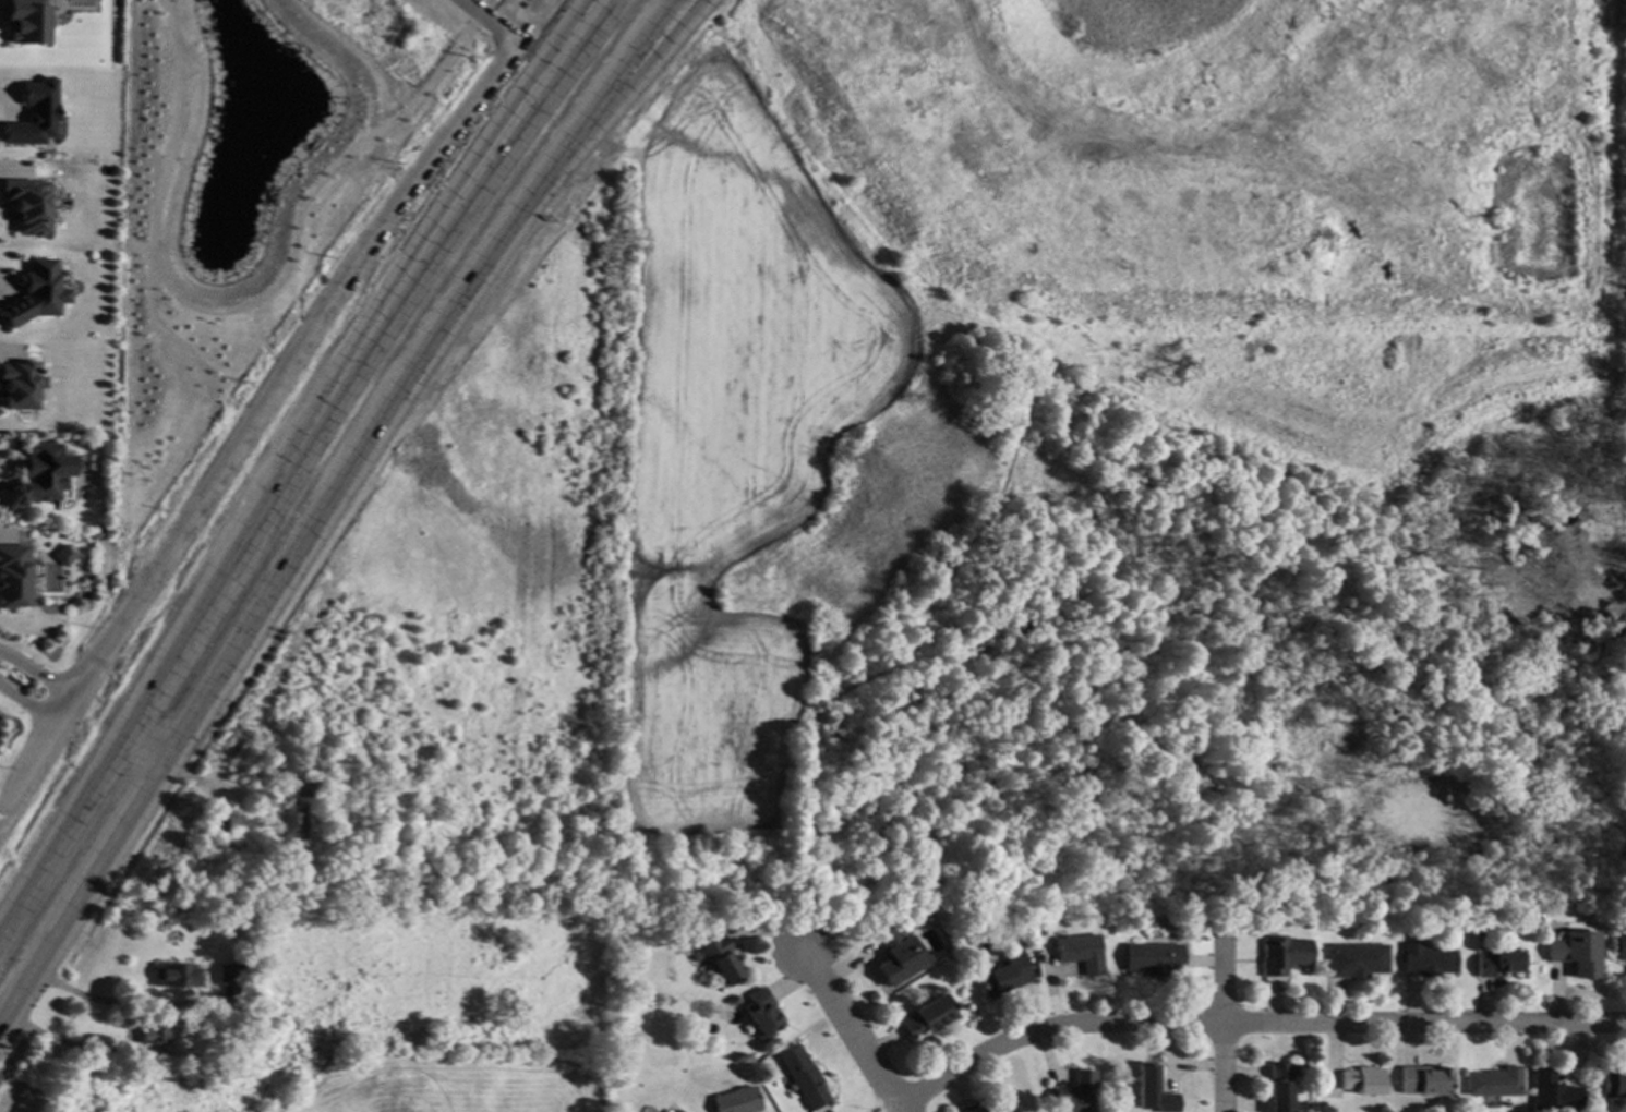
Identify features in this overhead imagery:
road: (487, 2)
road: (583, 11)
road: (585, 11)
road: (479, 14)
road: (485, 20)
building: (26, 22)
building: (32, 114)
building: (26, 206)
building: (34, 293)
road: (239, 307)
building: (19, 384)
road: (249, 423)
crop: (730, 445)
road: (284, 471)
building: (35, 476)
road: (326, 495)
building: (62, 556)
building: (12, 576)
road: (37, 672)
road: (28, 703)
road: (140, 747)
building: (325, 783)
building: (304, 786)
building: (289, 820)
building: (357, 862)
building: (1328, 919)
building: (1305, 923)
building: (236, 924)
building: (1039, 929)
building: (1478, 932)
building: (1619, 946)
building: (1080, 952)
building: (1574, 952)
building: (1281, 954)
building: (896, 955)
building: (1152, 958)
building: (716, 959)
building: (1354, 959)
building: (1425, 959)
building: (1497, 962)
building: (228, 972)
building: (174, 975)
building: (1002, 978)
road: (88, 1000)
building: (760, 1013)
building: (926, 1016)
road: (1249, 1020)
crop: (385, 1022)
building: (153, 1031)
road: (852, 1031)
road: (1214, 1036)
road: (52, 1041)
building: (802, 1076)
building: (1361, 1079)
building: (1422, 1079)
building: (1493, 1081)
building: (1613, 1083)
building: (1278, 1087)
building: (1151, 1090)
building: (1073, 1092)
building: (1552, 1092)
building: (736, 1100)
building: (1098, 1107)
building: (972, 1108)
building: (1002, 1108)
building: (675, 1111)

